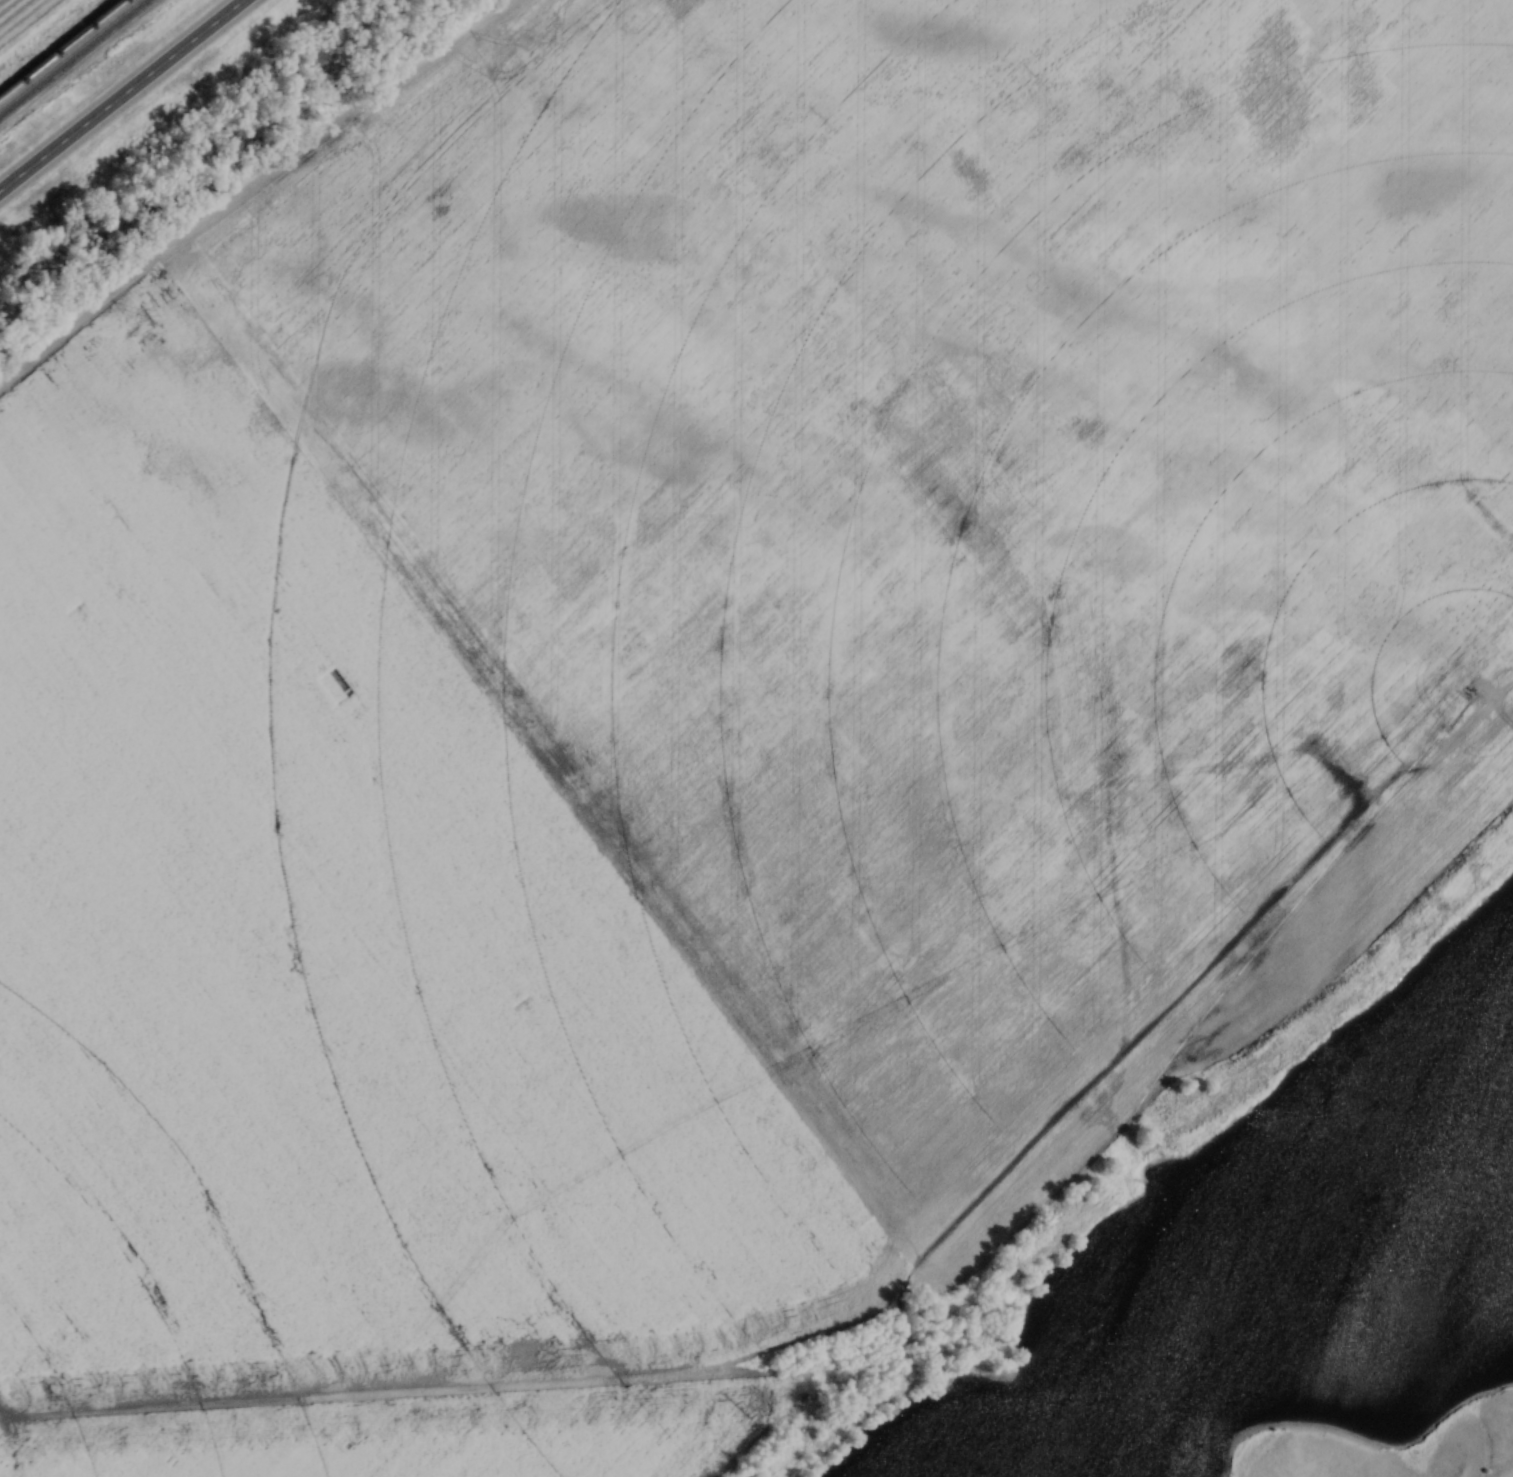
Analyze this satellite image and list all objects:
railway: (61, 48)
railway: (70, 55)
road: (125, 99)

